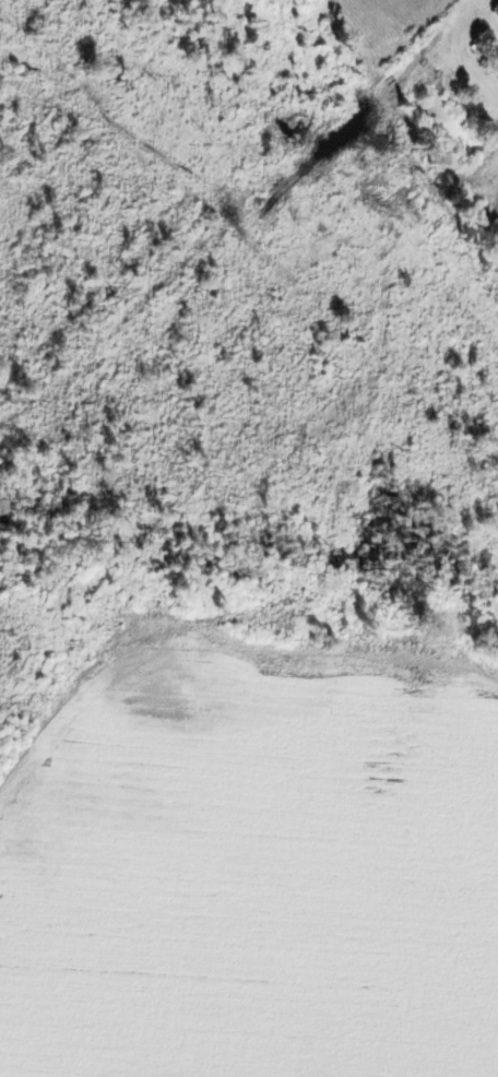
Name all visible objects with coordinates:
road: (265, 748)

